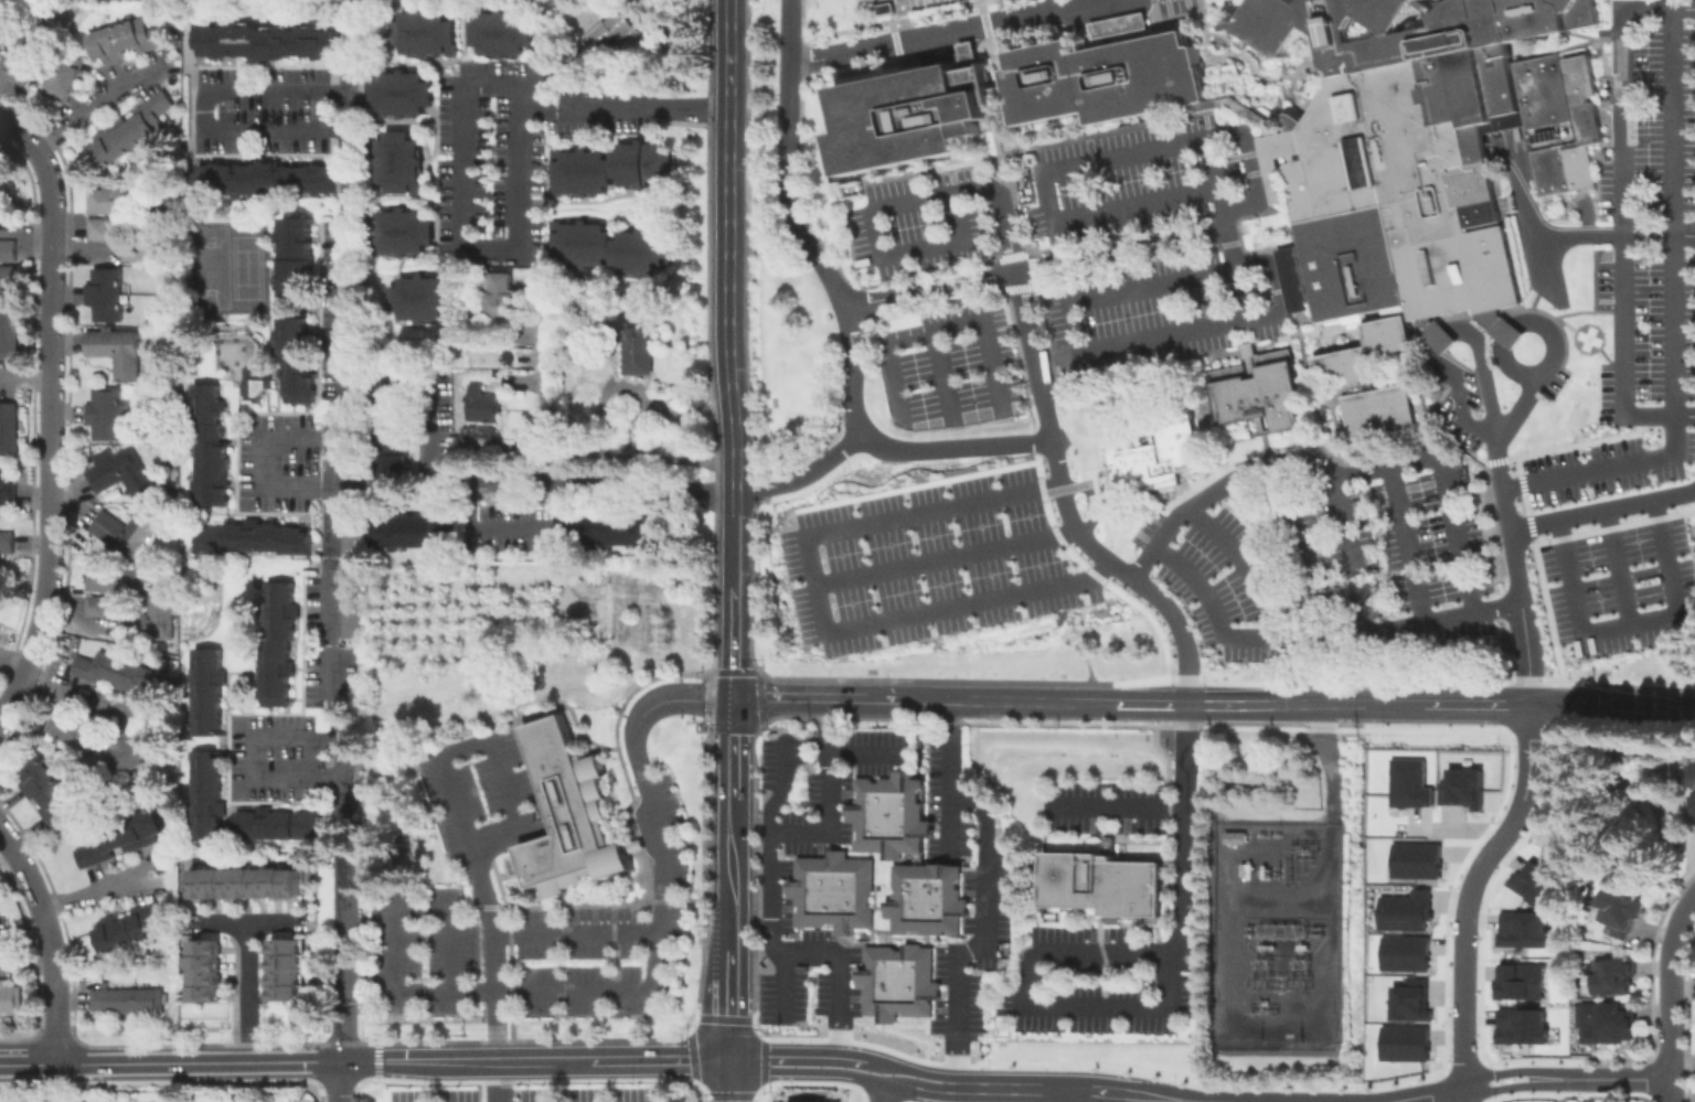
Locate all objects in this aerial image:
building: (515, 0)
building: (899, 4)
parking lot: (899, 4)
road: (1057, 4)
parking lot: (1174, 6)
road: (1001, 10)
road: (903, 20)
building: (1116, 26)
building: (7, 31)
road: (948, 32)
building: (428, 33)
building: (503, 33)
building: (606, 38)
building: (121, 40)
building: (271, 42)
building: (22, 61)
fountain: (1304, 68)
building: (61, 78)
building: (1102, 78)
fountain: (1260, 81)
building: (998, 90)
building: (404, 93)
road: (626, 105)
parking lot: (267, 110)
building: (1239, 110)
road: (87, 115)
building: (907, 116)
building: (135, 129)
road: (202, 131)
building: (1420, 148)
parking lot: (511, 149)
road: (347, 157)
building: (401, 162)
road: (789, 162)
building: (643, 164)
road: (1251, 165)
building: (583, 172)
building: (264, 175)
road: (1620, 180)
parking lot: (1118, 181)
road: (50, 191)
road: (1524, 194)
road: (1045, 197)
building: (108, 201)
road: (1220, 201)
parking lot: (917, 222)
building: (97, 228)
building: (404, 232)
road: (880, 232)
road: (1010, 233)
road: (1577, 235)
building: (582, 244)
road: (726, 245)
road: (525, 247)
building: (7, 250)
building: (643, 253)
road: (1122, 253)
building: (297, 260)
building: (1292, 278)
building: (7, 279)
road: (932, 292)
building: (501, 296)
building: (107, 297)
building: (423, 298)
road: (973, 304)
parking lot: (1144, 312)
road: (1025, 314)
road: (1671, 314)
road: (1523, 322)
building: (7, 328)
road: (940, 332)
building: (1435, 333)
helipad: (1588, 338)
road: (1442, 341)
road: (1109, 346)
building: (643, 351)
building: (1365, 351)
building: (120, 353)
road: (1046, 353)
building: (299, 362)
parking lot: (951, 366)
parking lot: (1631, 372)
road: (855, 373)
road: (945, 377)
building: (256, 382)
parking lot: (1554, 384)
building: (1257, 388)
road: (1042, 398)
building: (481, 405)
parking lot: (1459, 408)
building: (1378, 411)
road: (1657, 415)
building: (106, 416)
building: (7, 426)
building: (393, 431)
building: (480, 436)
road: (1495, 436)
road: (953, 449)
building: (212, 450)
road: (575, 453)
road: (426, 454)
building: (1163, 457)
road: (262, 459)
parking lot: (276, 462)
building: (122, 474)
road: (1342, 474)
road: (801, 478)
building: (7, 495)
road: (50, 506)
road: (1602, 511)
road: (559, 523)
parking lot: (505, 528)
building: (619, 529)
building: (128, 533)
building: (417, 533)
road: (733, 536)
road: (1511, 536)
building: (255, 542)
building: (352, 542)
building: (8, 544)
road: (1408, 545)
road: (1298, 552)
road: (1353, 555)
road: (946, 557)
parking lot: (931, 560)
road: (1245, 565)
parking lot: (1337, 566)
road: (1620, 567)
road: (1126, 573)
building: (111, 579)
road: (820, 605)
building: (93, 606)
building: (351, 609)
road: (341, 621)
road: (1632, 623)
road: (1318, 636)
parking lot: (330, 638)
road: (734, 642)
building: (278, 645)
road: (12, 665)
building: (121, 678)
road: (71, 692)
building: (210, 695)
road: (812, 699)
traffic signals: (734, 702)
road: (1209, 707)
road: (1610, 710)
building: (65, 728)
road: (733, 749)
road: (865, 751)
building: (125, 755)
road: (253, 757)
parking lot: (275, 759)
road: (441, 762)
building: (1688, 779)
road: (1324, 781)
road: (783, 784)
building: (1407, 784)
building: (1459, 788)
building: (47, 794)
parking lot: (479, 794)
building: (209, 798)
parking lot: (1106, 806)
road: (1115, 807)
building: (888, 814)
building: (573, 817)
road: (949, 826)
building: (281, 827)
building: (1236, 838)
building: (122, 841)
road: (746, 846)
building: (1414, 859)
parking lot: (777, 869)
road: (732, 873)
road: (769, 878)
building: (1532, 882)
building: (247, 885)
building: (1104, 885)
road: (985, 888)
road: (1469, 888)
building: (832, 890)
parking lot: (966, 890)
building: (926, 898)
road: (73, 900)
building: (1399, 911)
building: (1623, 914)
road: (248, 924)
building: (1, 929)
building: (131, 929)
building: (1522, 930)
parking lot: (608, 932)
road: (655, 935)
power substation: (1275, 937)
road: (51, 942)
parking lot: (419, 949)
road: (1097, 951)
building: (1401, 953)
building: (289, 971)
building: (205, 974)
building: (1613, 978)
building: (897, 981)
parking lot: (1091, 981)
building: (1520, 982)
road: (782, 986)
road: (578, 989)
road: (454, 991)
road: (249, 993)
road: (1671, 996)
building: (11, 1002)
building: (130, 1002)
building: (1409, 1002)
road: (732, 1004)
building: (1613, 1023)
building: (1521, 1027)
building: (1403, 1044)
road: (689, 1056)
road: (797, 1056)
road: (608, 1057)
road: (1484, 1057)
traffic signals: (732, 1059)
road: (284, 1060)
road: (696, 1068)
road: (910, 1070)
road: (1511, 1071)
road: (760, 1073)
road: (843, 1076)
road: (1616, 1078)
road: (537, 1080)
road: (732, 1080)
road: (342, 1081)
road: (1511, 1087)
road: (700, 1090)
road: (1095, 1090)
park: (535, 1091)
road: (729, 1092)
road: (1463, 1092)
parking lot: (543, 1093)
road: (883, 1093)
road: (1427, 1093)
road: (1066, 1094)
road: (760, 1098)
building: (814, 1101)

